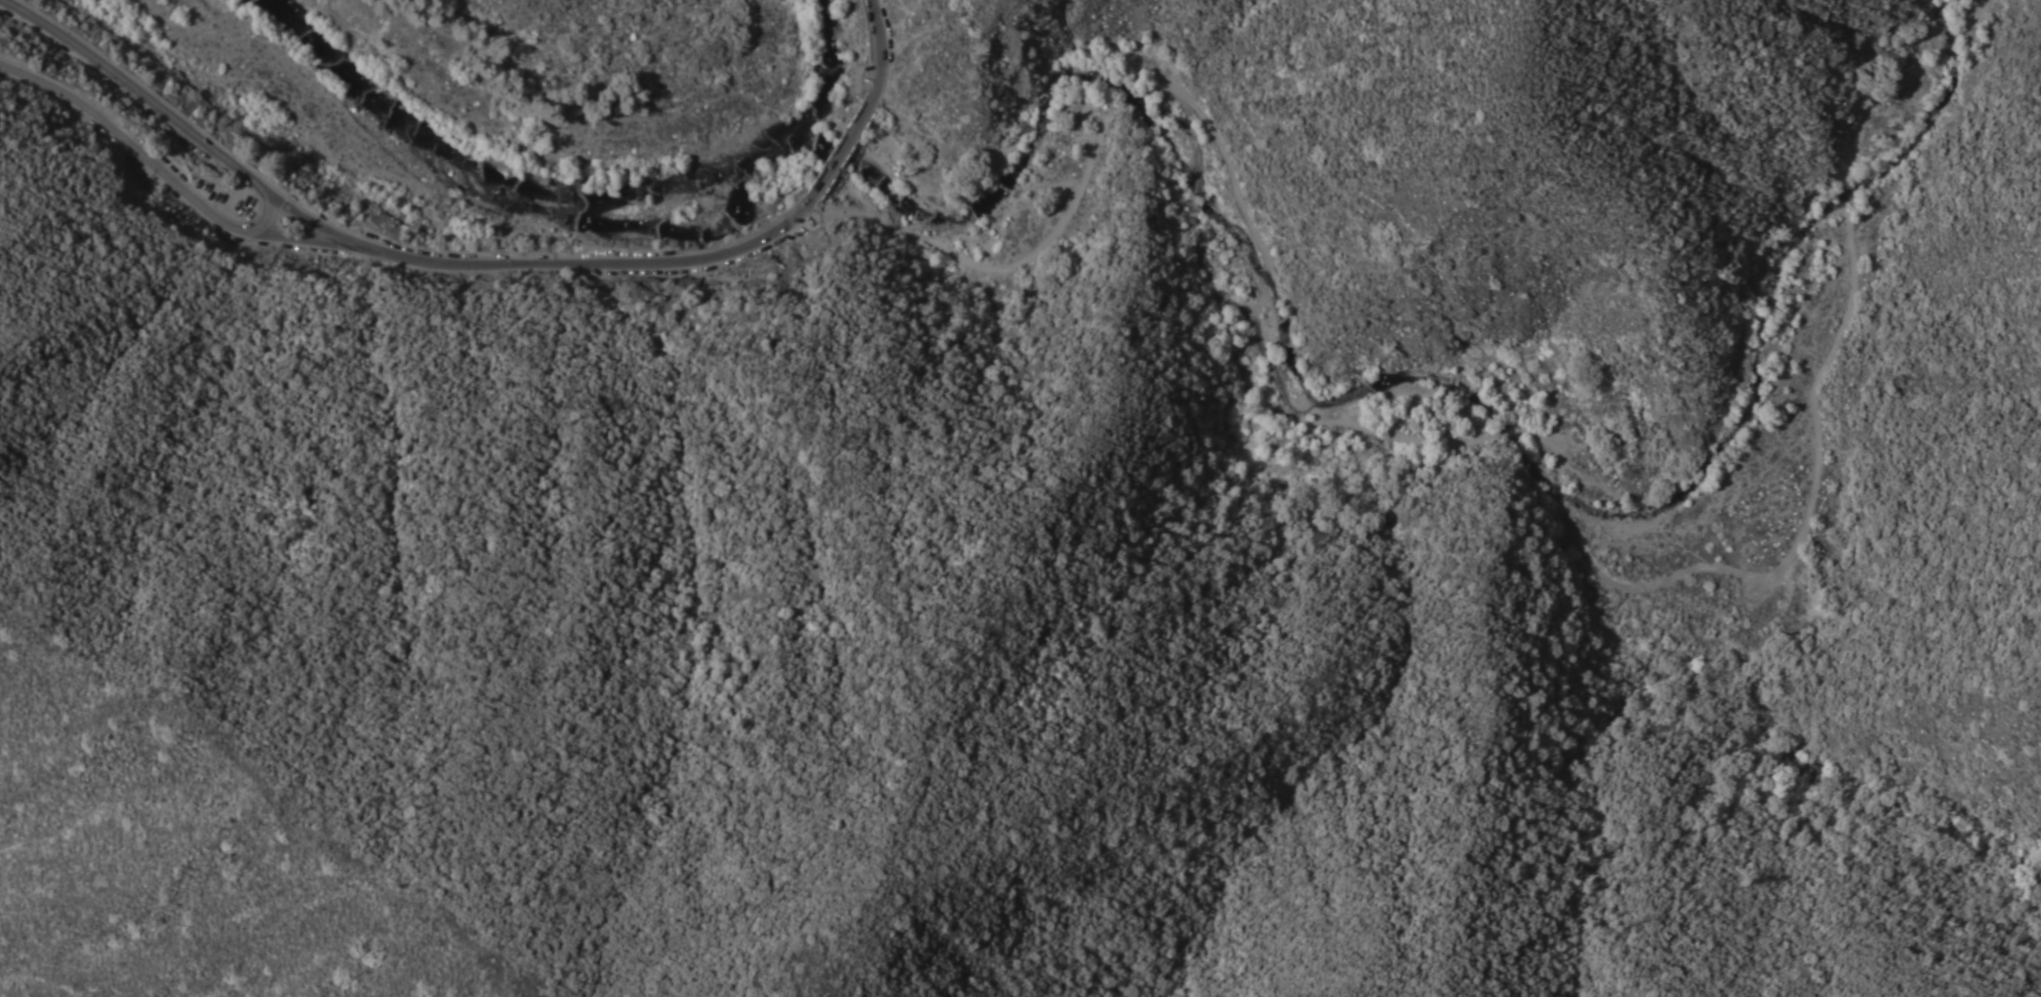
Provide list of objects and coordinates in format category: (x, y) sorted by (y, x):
road: (882, 49)
road: (137, 90)
road: (842, 149)
road: (147, 159)
river: (599, 209)
road: (309, 241)
road: (538, 263)
road: (1498, 444)

